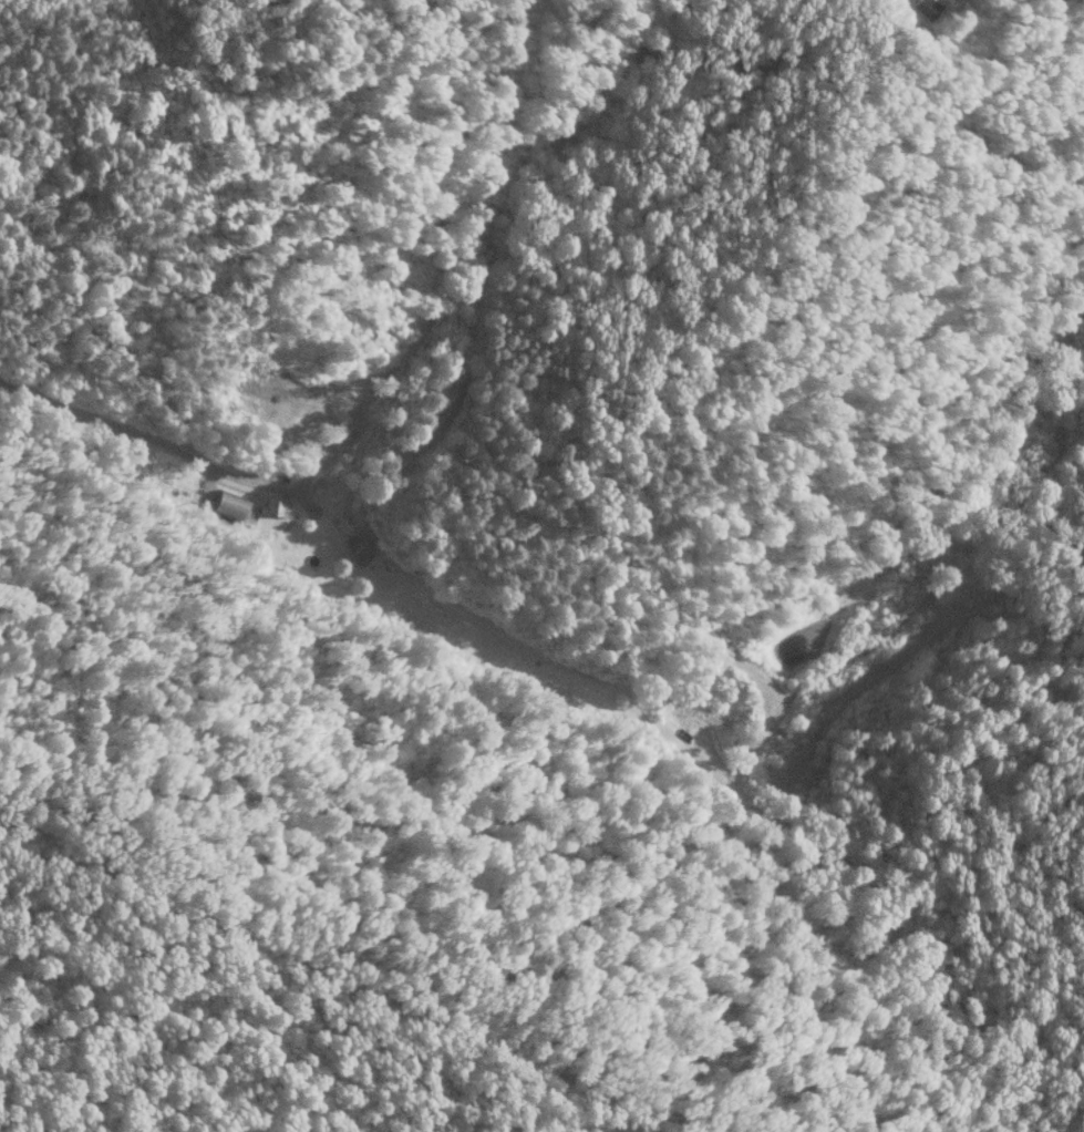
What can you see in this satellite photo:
building: (278, 508)
building: (361, 553)

